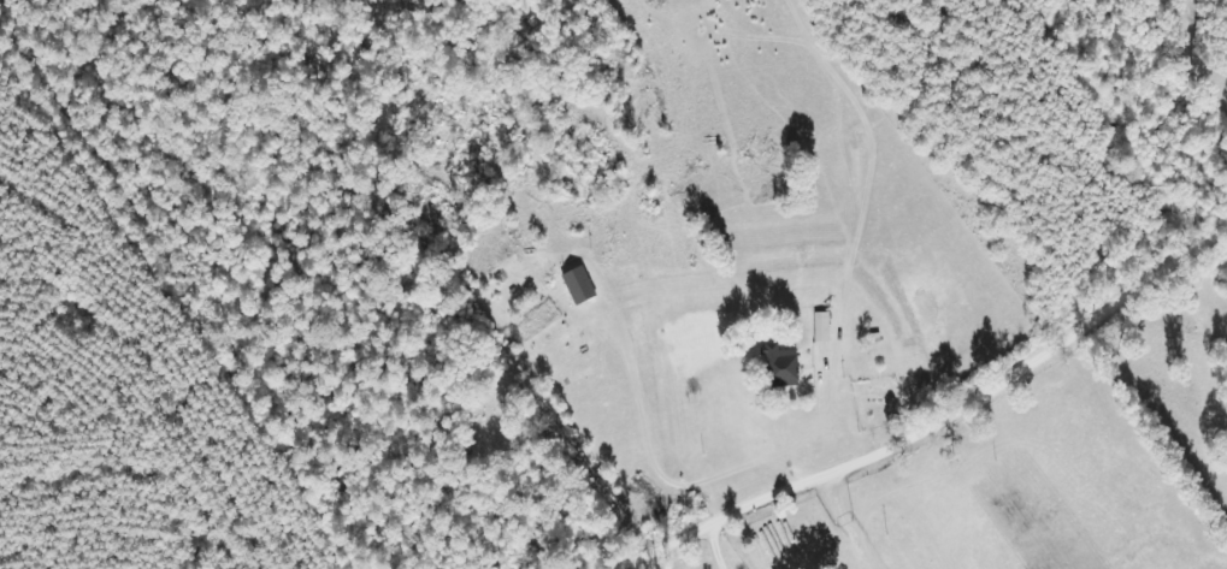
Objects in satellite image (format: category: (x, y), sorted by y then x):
building: (577, 286)
building: (779, 367)
road: (877, 408)
road: (26, 410)

